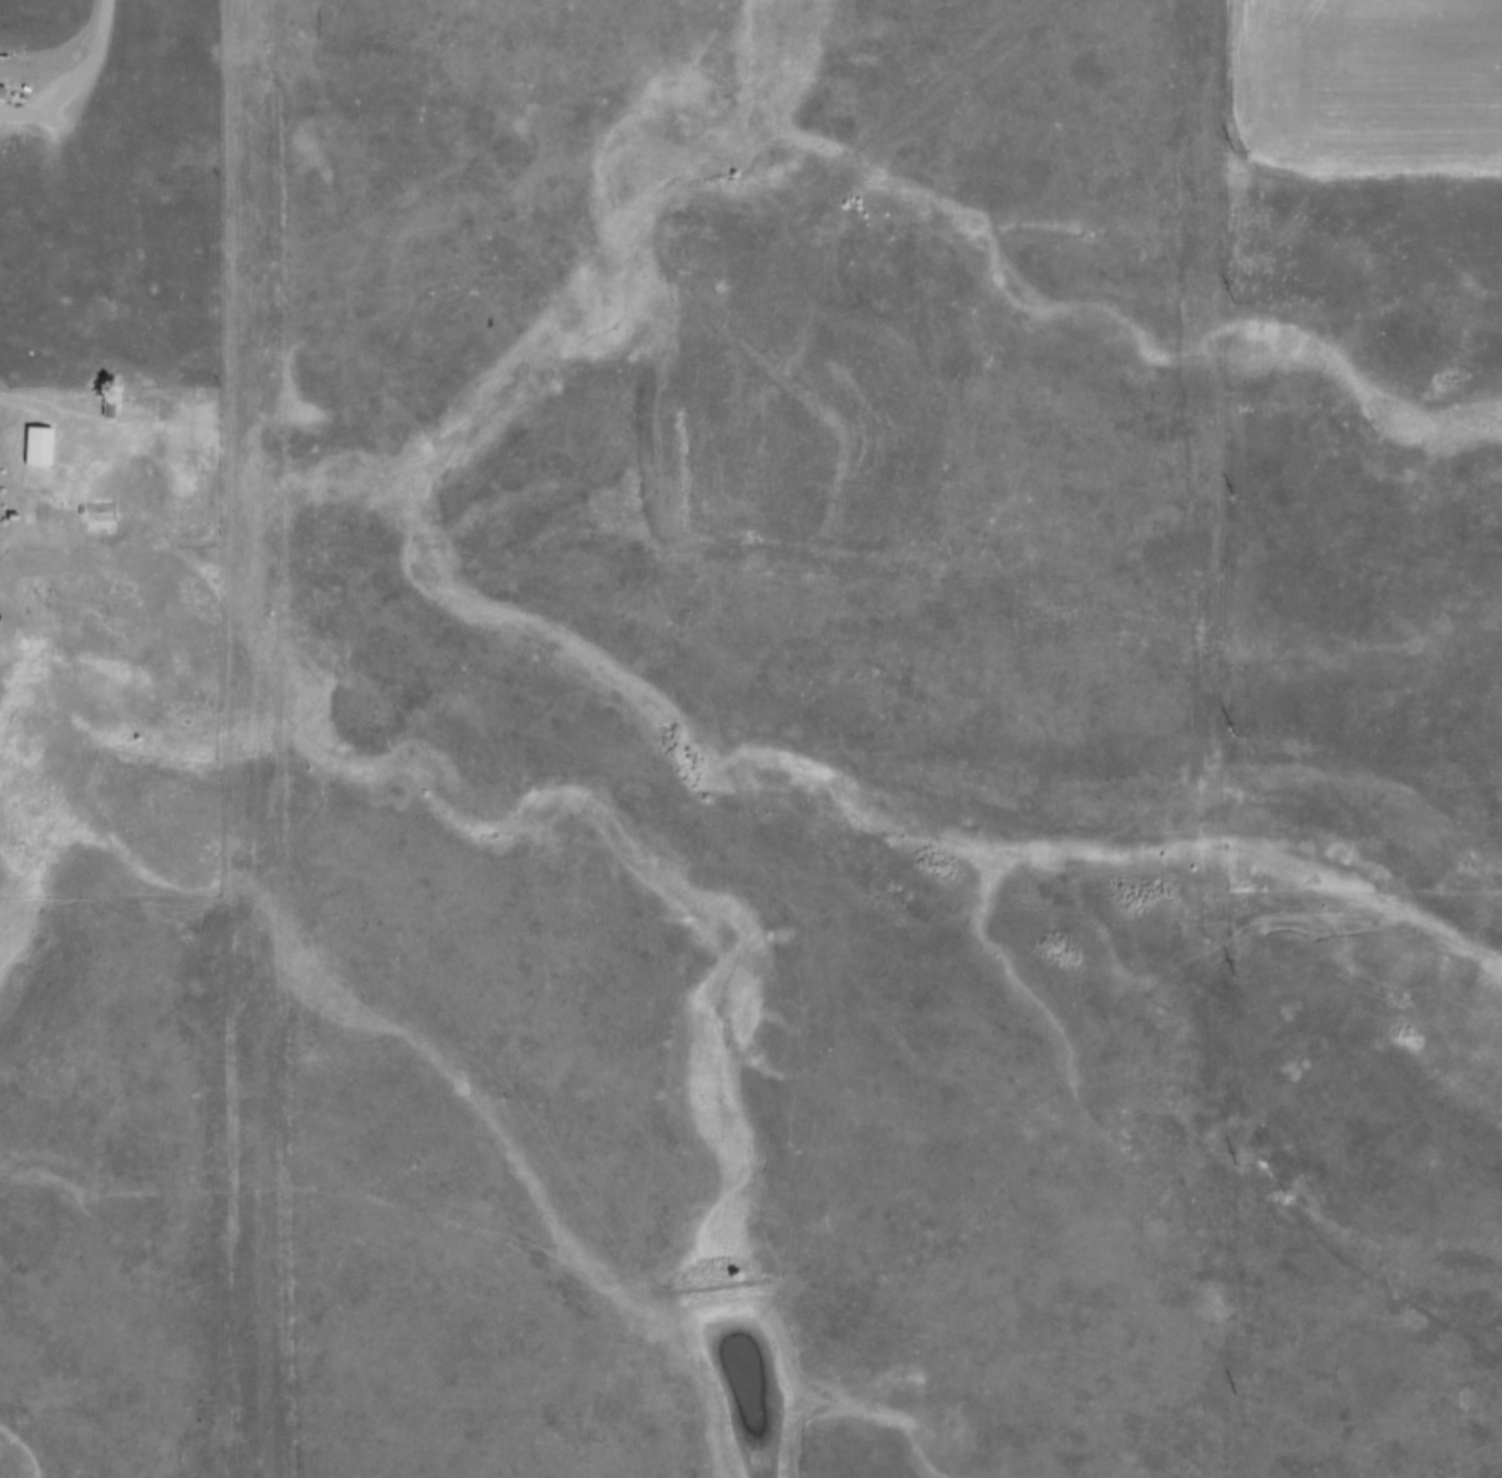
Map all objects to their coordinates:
road: (85, 66)
building: (0, 90)
road: (899, 128)
building: (131, 408)
road: (53, 417)
building: (37, 470)

